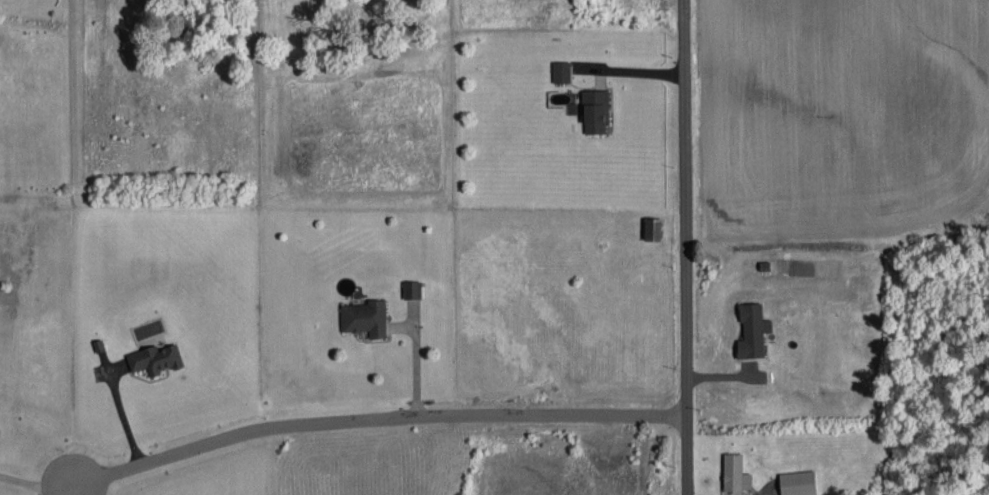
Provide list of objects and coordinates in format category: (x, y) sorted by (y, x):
building: (561, 69)
building: (596, 107)
building: (653, 226)
road: (686, 247)
building: (412, 287)
building: (365, 315)
building: (753, 328)
building: (155, 356)
road: (120, 411)
road: (375, 415)
building: (735, 471)
building: (798, 481)
road: (36, 482)
road: (70, 489)
road: (77, 489)

